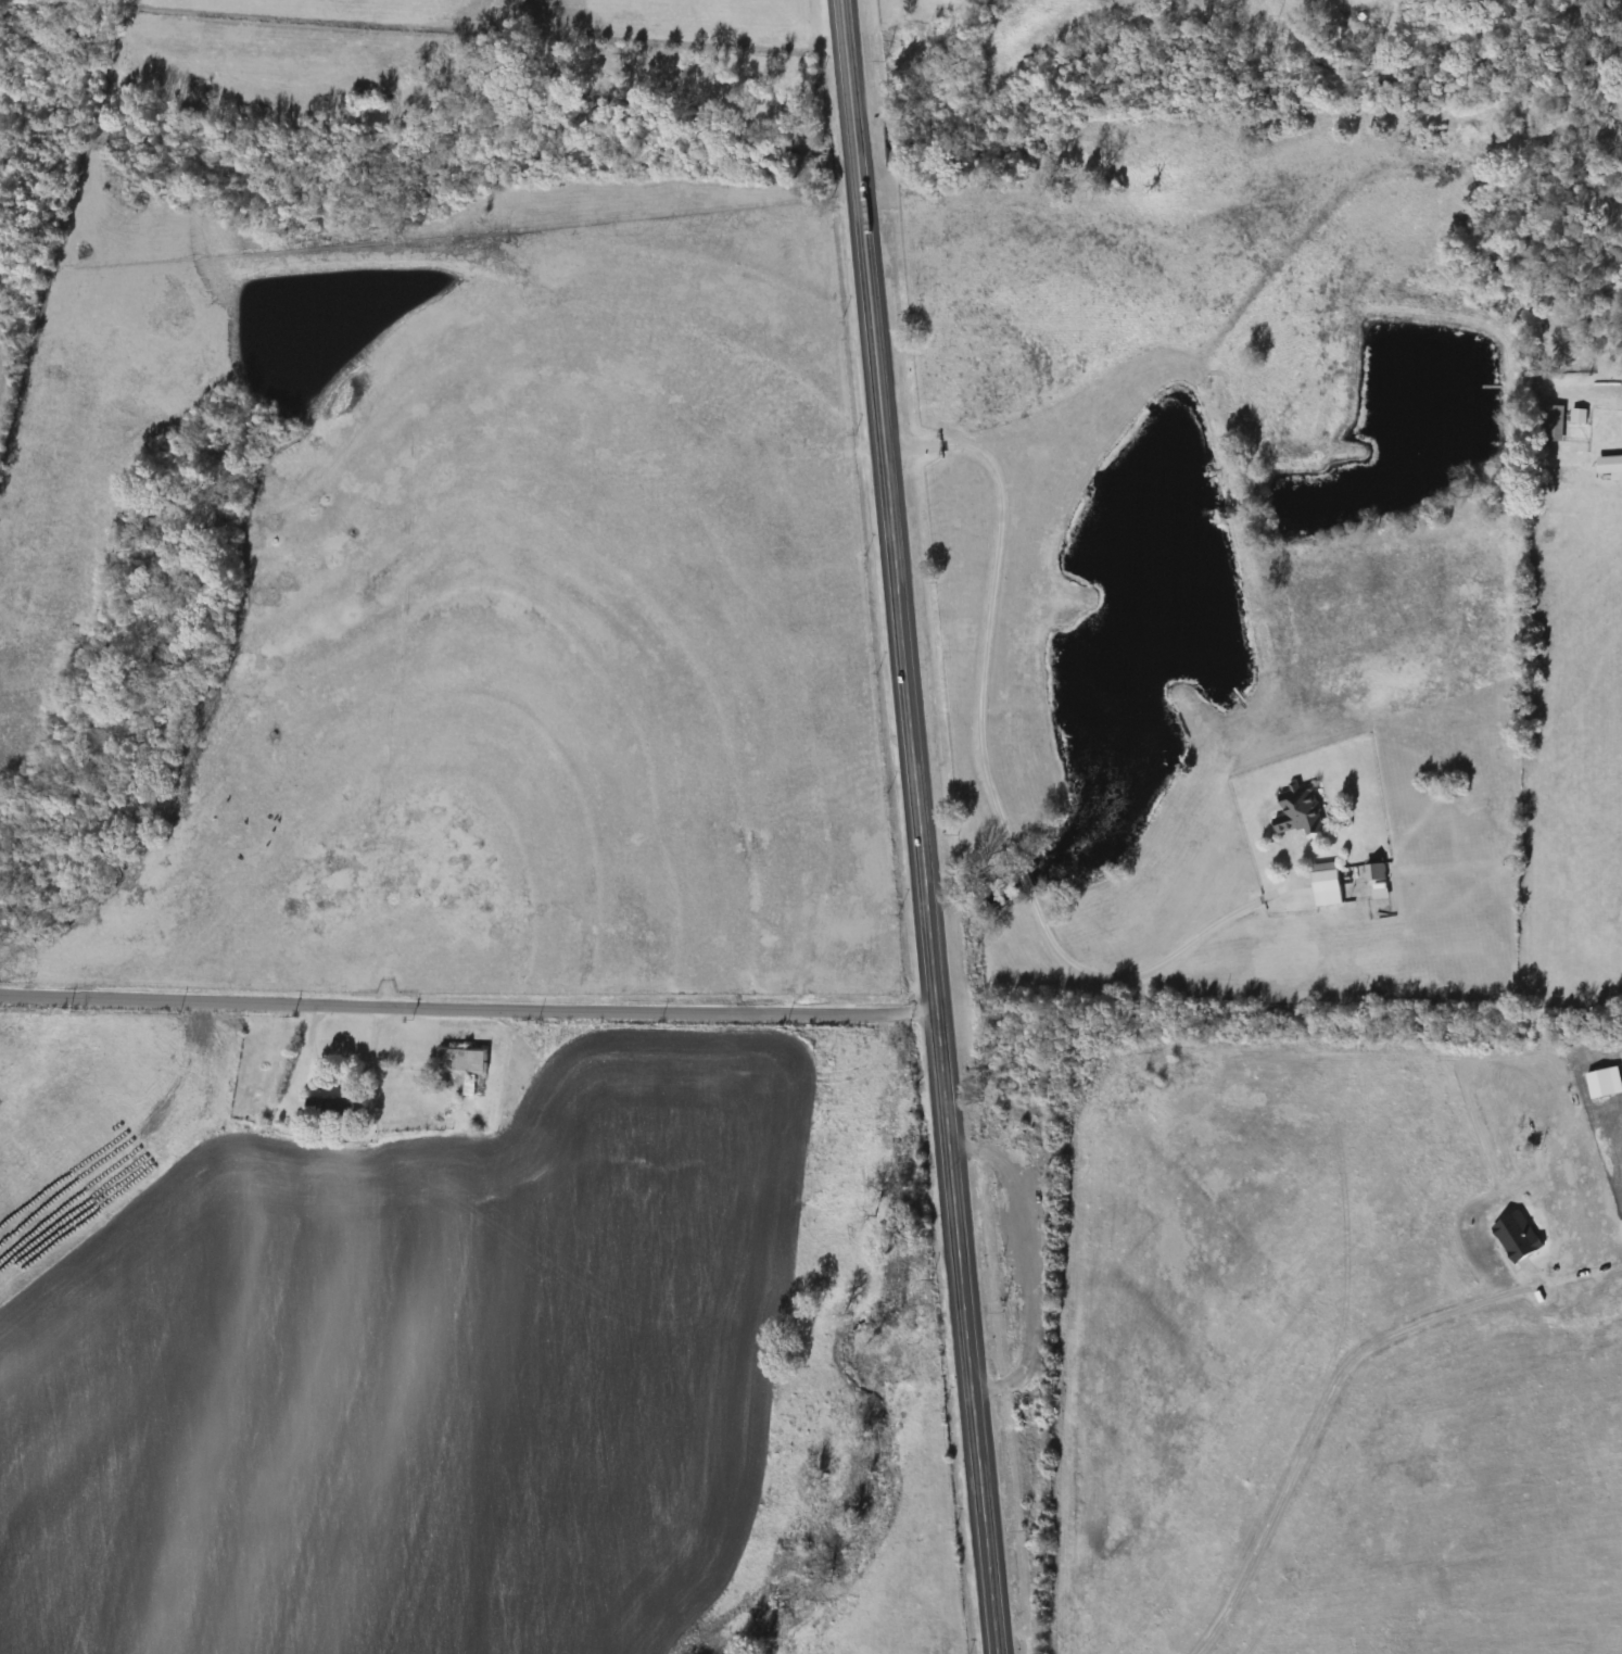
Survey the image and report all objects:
road: (1606, 386)
building: (1554, 422)
building: (1610, 464)
road: (998, 803)
building: (1301, 810)
road: (921, 826)
building: (1328, 887)
road: (470, 1009)
building: (465, 1060)
building: (1605, 1082)
building: (469, 1086)
building: (331, 1107)
building: (464, 1114)
building: (1519, 1237)
road: (1321, 1416)

